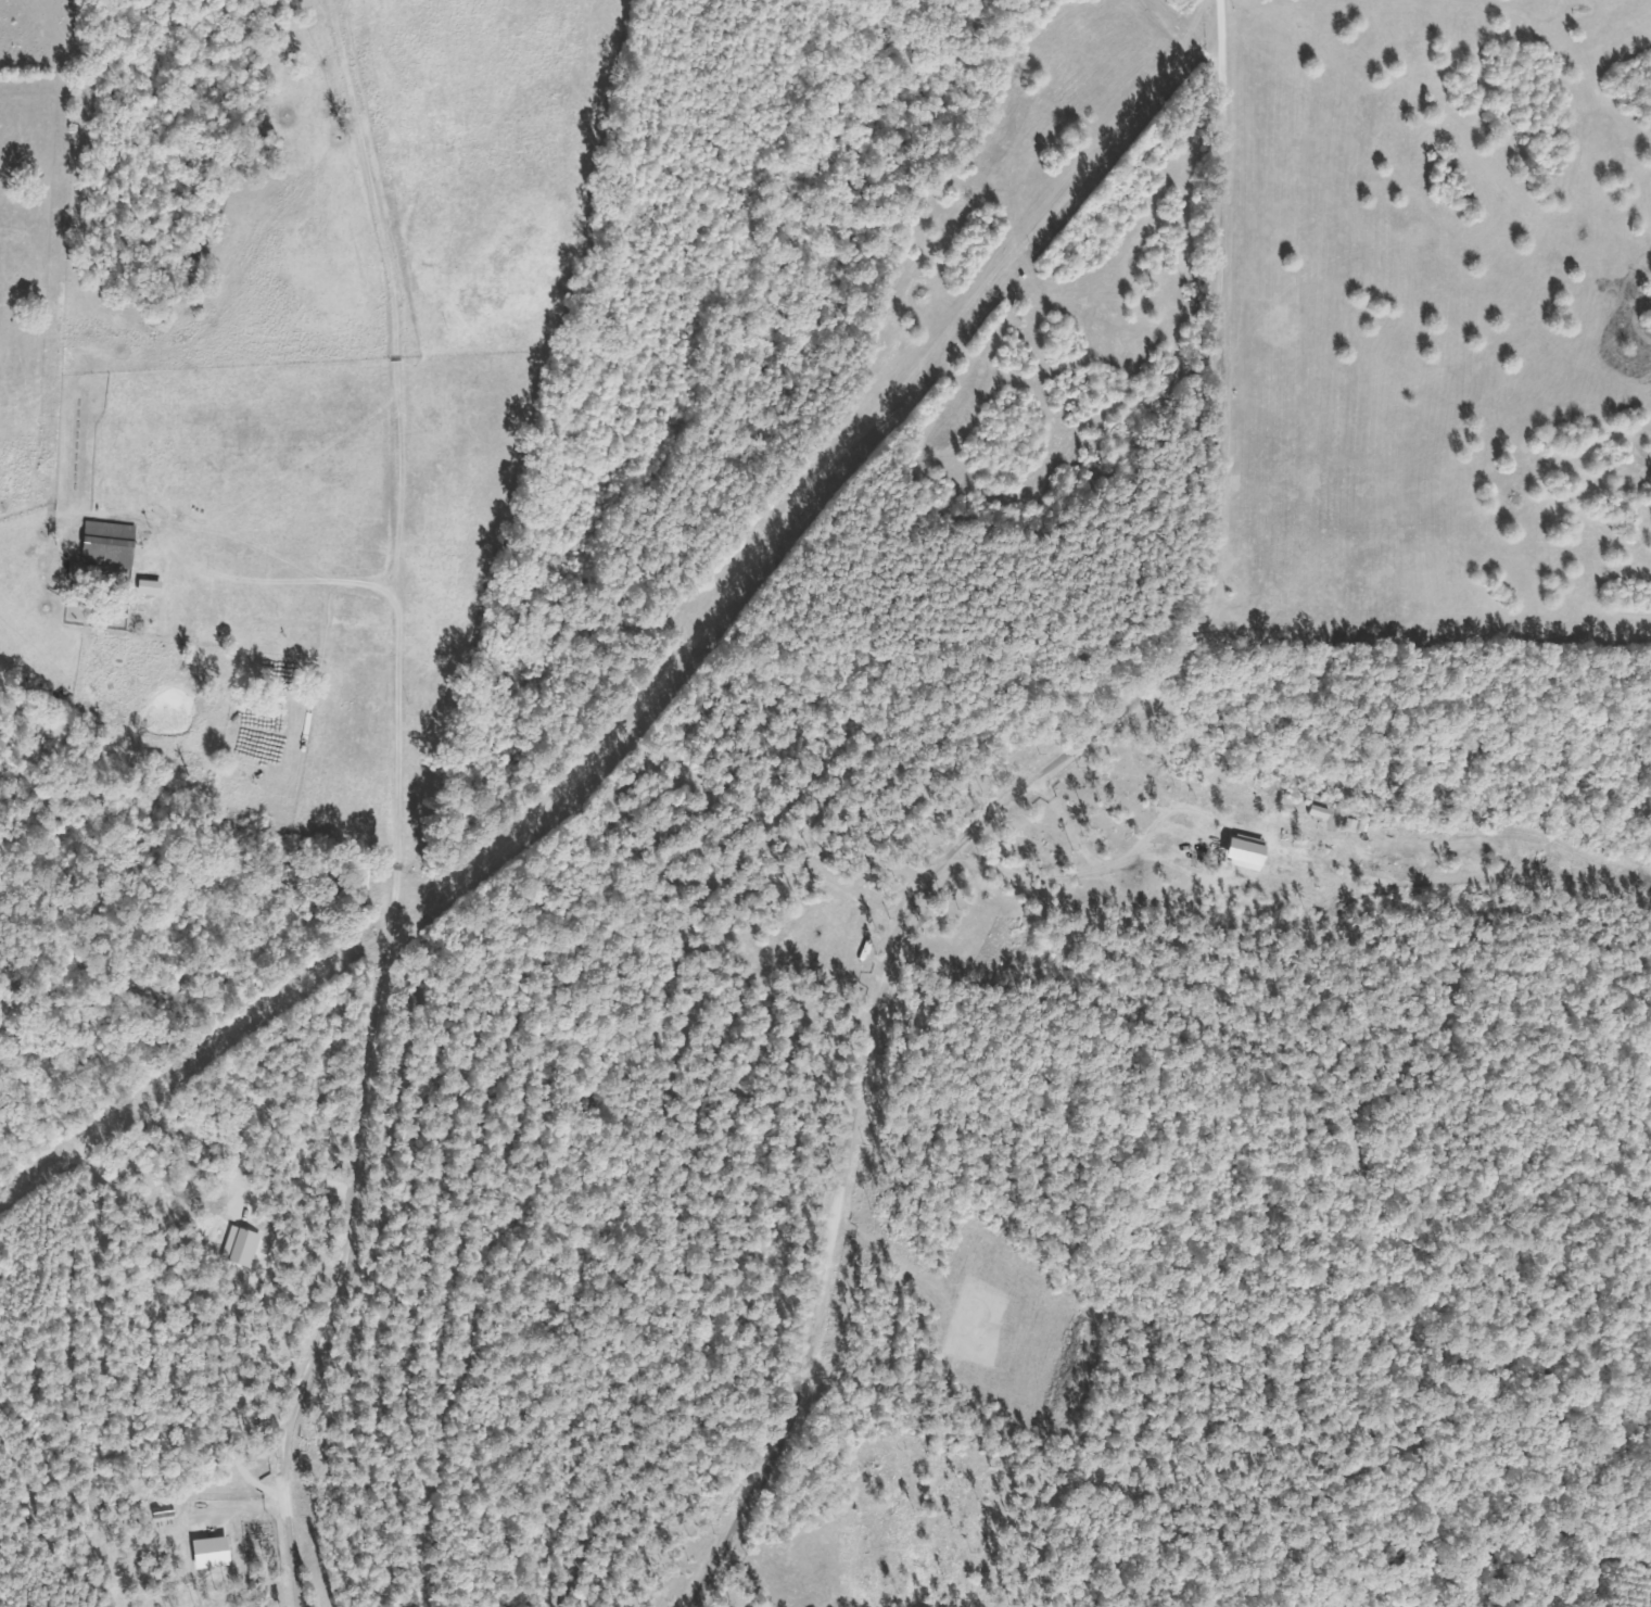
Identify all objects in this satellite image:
building: (111, 543)
building: (155, 589)
road: (1012, 805)
road: (361, 926)
building: (245, 1248)
building: (217, 1554)

